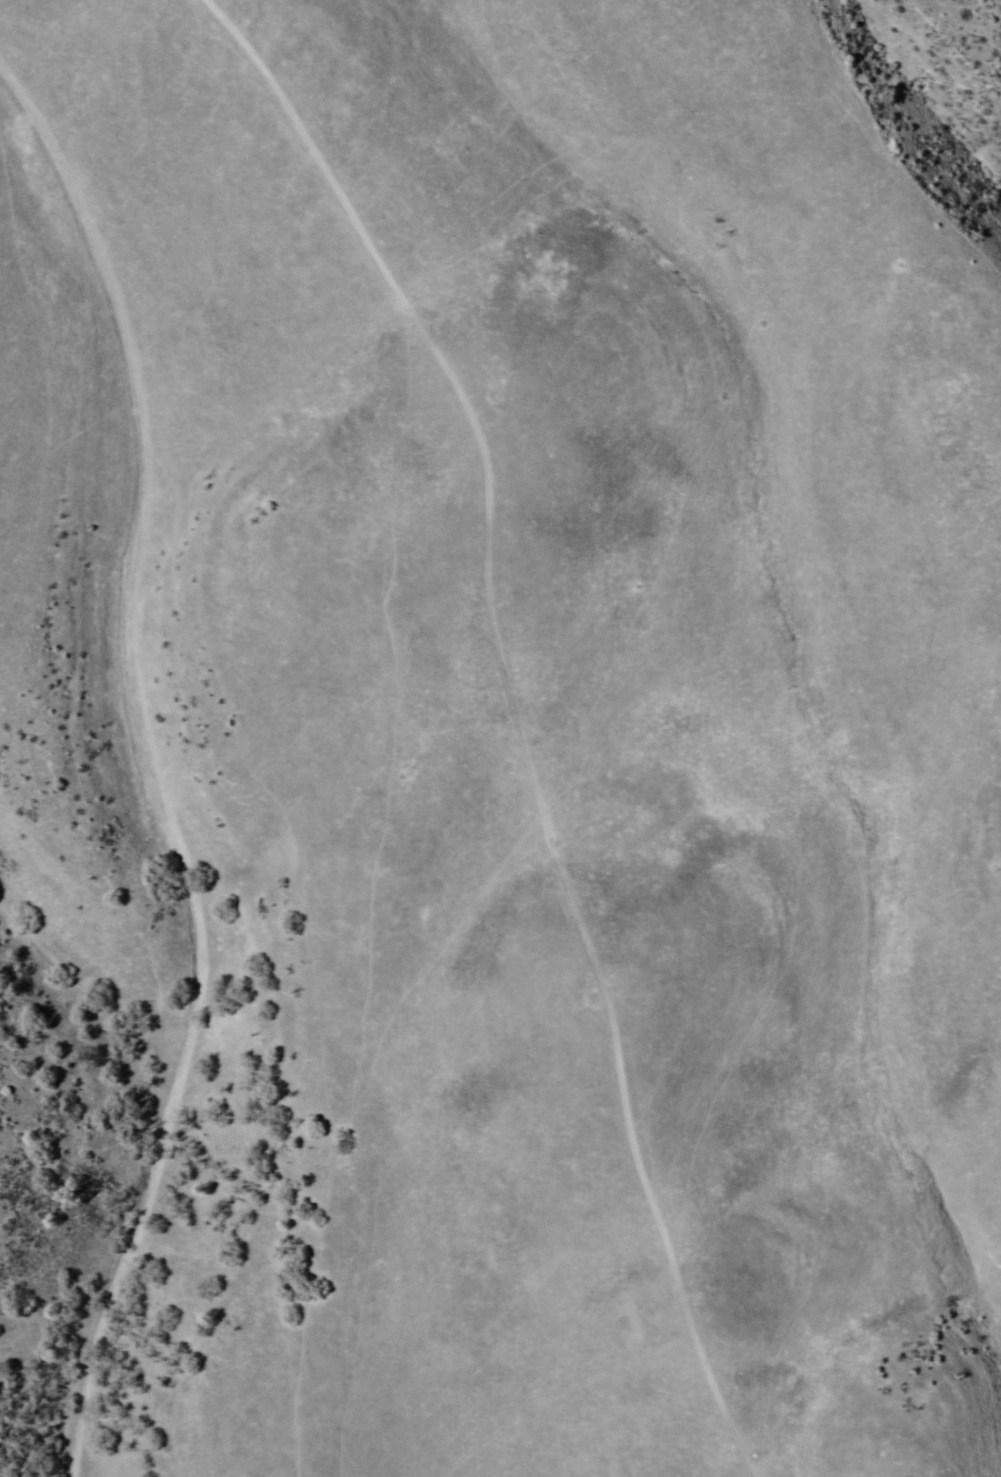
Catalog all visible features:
road: (156, 738)
road: (526, 849)

